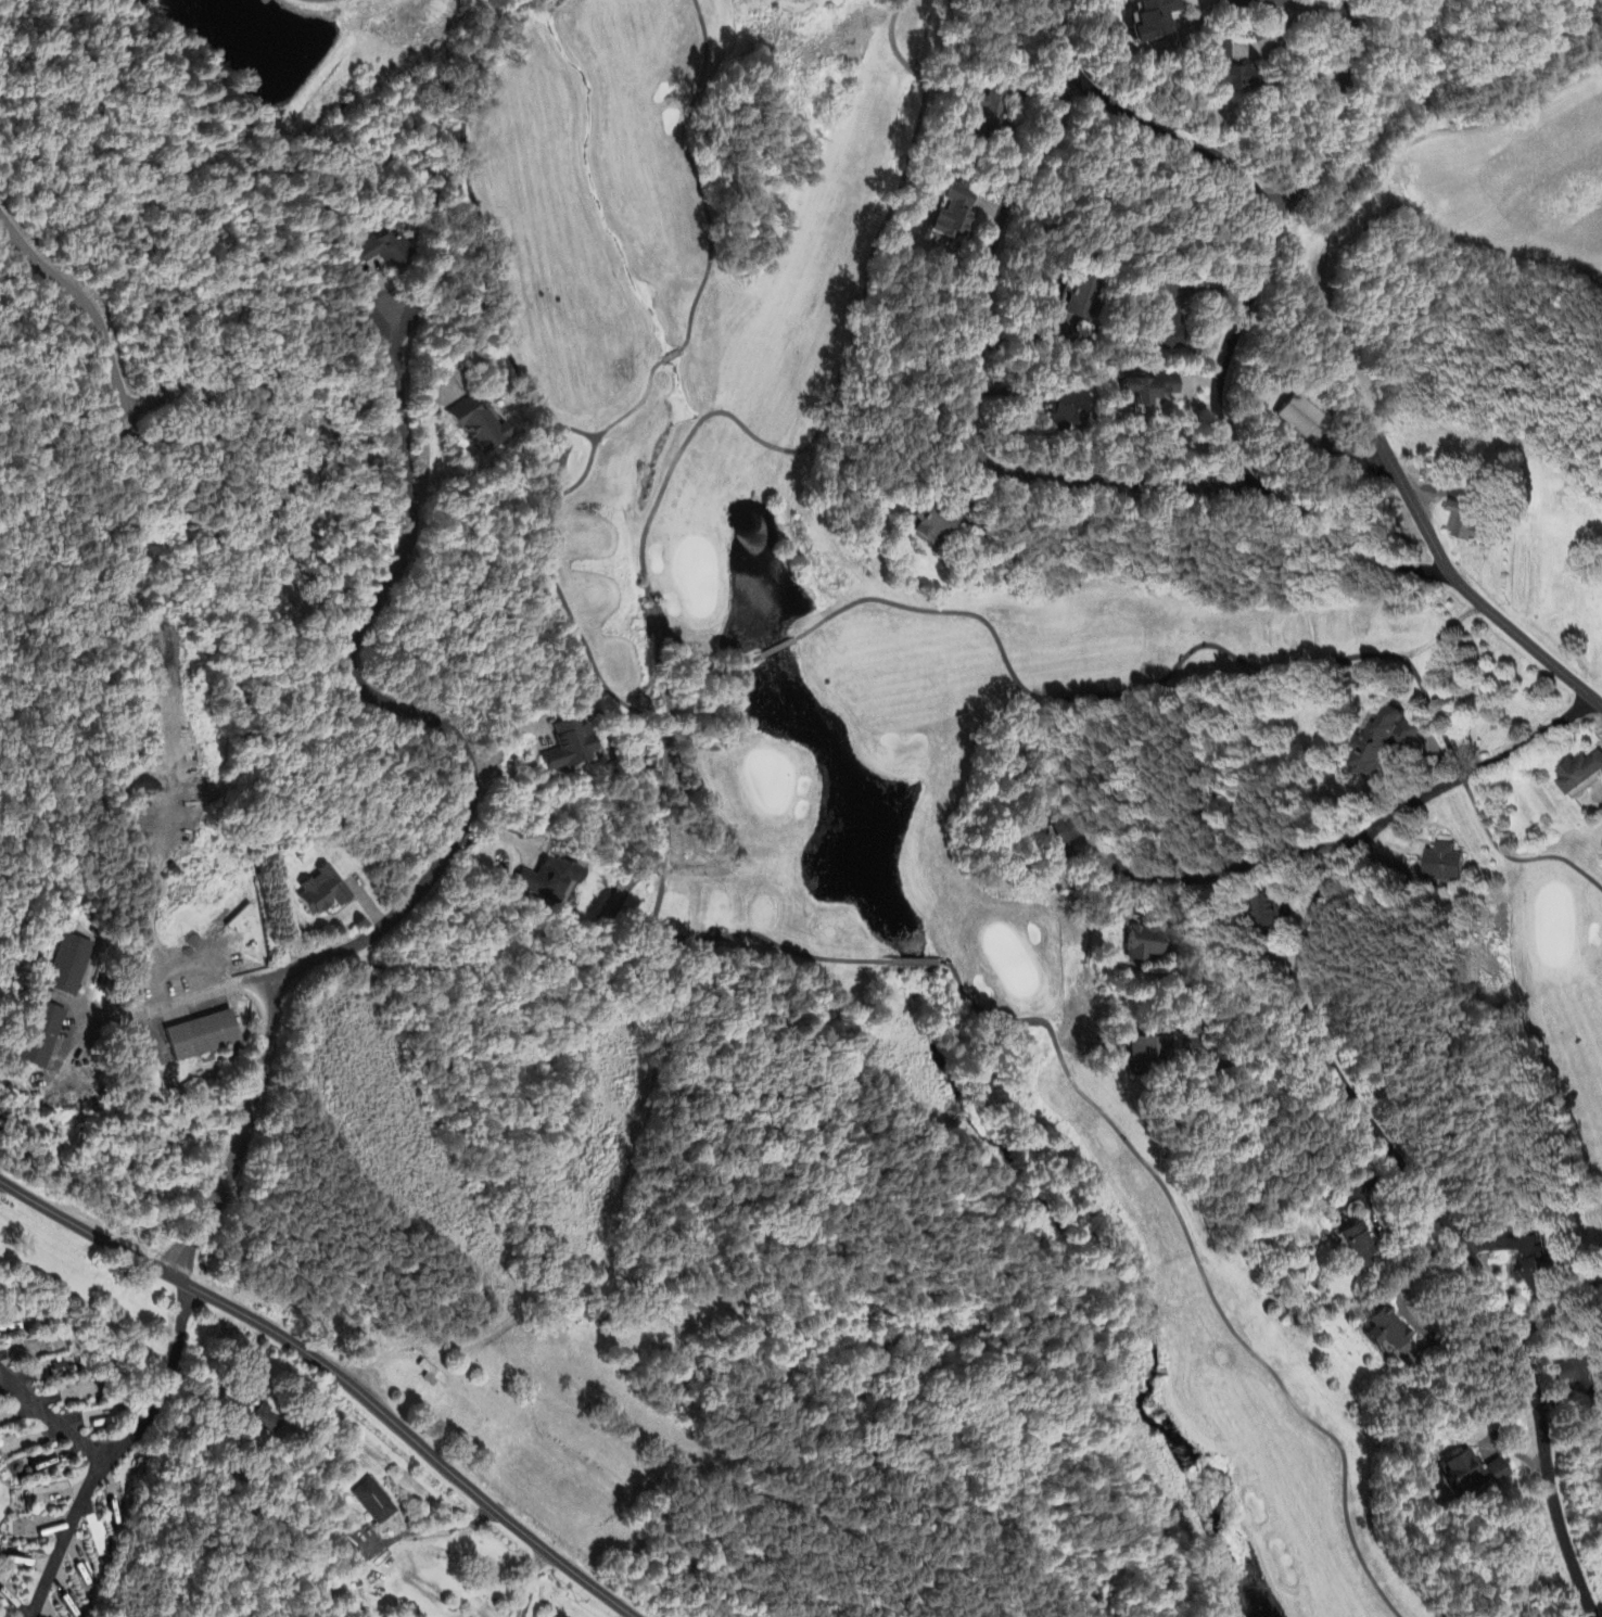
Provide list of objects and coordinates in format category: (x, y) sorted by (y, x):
building: (1154, 20)
building: (1229, 72)
road: (1344, 87)
building: (993, 103)
building: (952, 216)
building: (385, 250)
road: (1330, 252)
building: (1078, 307)
road: (91, 310)
building: (1170, 330)
road: (971, 394)
building: (1149, 394)
road: (1218, 397)
building: (1067, 410)
building: (1300, 417)
building: (480, 425)
building: (1440, 476)
building: (935, 521)
building: (1465, 522)
road: (1177, 661)
road: (1413, 673)
building: (1382, 742)
building: (570, 746)
building: (1580, 774)
road: (468, 812)
building: (1067, 832)
park: (1080, 841)
building: (1442, 864)
road: (1241, 867)
building: (549, 881)
building: (323, 892)
building: (1271, 912)
building: (1120, 918)
building: (1144, 943)
building: (68, 967)
road: (1259, 994)
road: (162, 1008)
building: (1192, 1027)
building: (41, 1036)
building: (202, 1036)
building: (1148, 1054)
road: (1360, 1099)
building: (1360, 1246)
building: (1534, 1264)
building: (1387, 1330)
road: (341, 1376)
building: (1578, 1376)
building: (435, 1379)
road: (167, 1380)
building: (266, 1422)
building: (1473, 1473)
road: (101, 1474)
building: (372, 1503)
road: (438, 1535)

